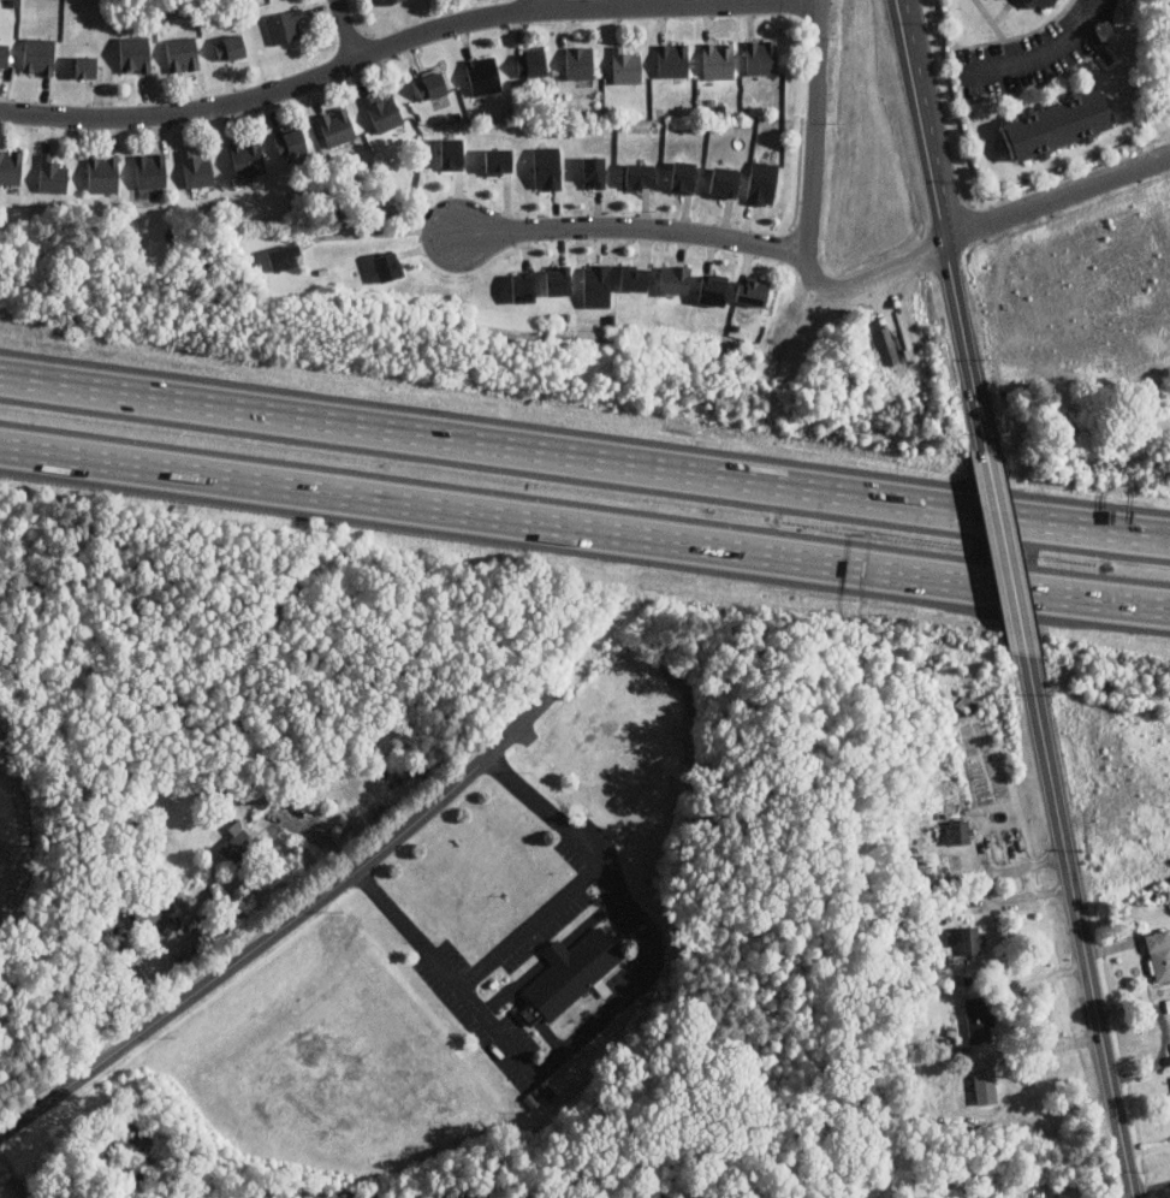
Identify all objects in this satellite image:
building: (390, 1)
building: (1041, 4)
road: (540, 5)
building: (284, 25)
road: (348, 29)
road: (408, 37)
building: (231, 47)
road: (1045, 48)
building: (135, 53)
building: (183, 53)
building: (4, 54)
building: (38, 55)
building: (761, 57)
building: (672, 59)
building: (719, 60)
building: (580, 63)
building: (531, 64)
building: (625, 65)
building: (85, 66)
building: (483, 75)
building: (434, 89)
building: (384, 112)
building: (1057, 124)
building: (337, 125)
road: (816, 126)
building: (291, 142)
building: (451, 150)
building: (249, 156)
building: (498, 160)
building: (11, 166)
building: (547, 167)
building: (152, 170)
building: (197, 170)
building: (593, 171)
building: (103, 173)
building: (52, 174)
building: (640, 174)
building: (683, 176)
building: (724, 182)
building: (762, 183)
road: (940, 215)
road: (976, 224)
road: (634, 226)
road: (384, 232)
building: (281, 255)
building: (388, 265)
building: (634, 277)
building: (558, 279)
building: (675, 280)
building: (596, 284)
building: (523, 286)
building: (713, 287)
building: (752, 291)
road: (584, 461)
road: (584, 526)
road: (1004, 546)
building: (960, 831)
building: (239, 841)
building: (162, 906)
road: (287, 924)
road: (527, 925)
road: (1077, 930)
building: (967, 939)
building: (1158, 953)
building: (572, 973)
building: (1169, 1002)
road: (594, 1018)
building: (979, 1019)
building: (985, 1085)
road: (13, 1174)

